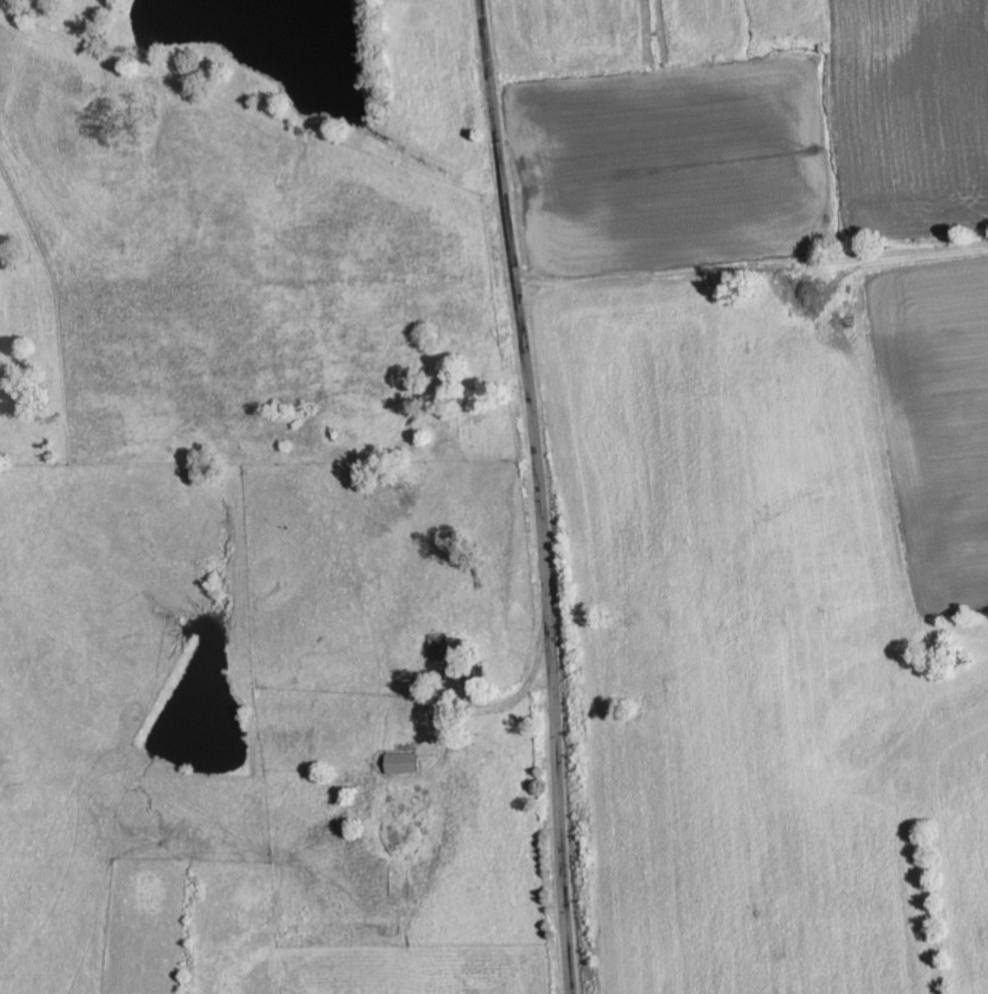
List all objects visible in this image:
road: (539, 495)
building: (404, 764)

